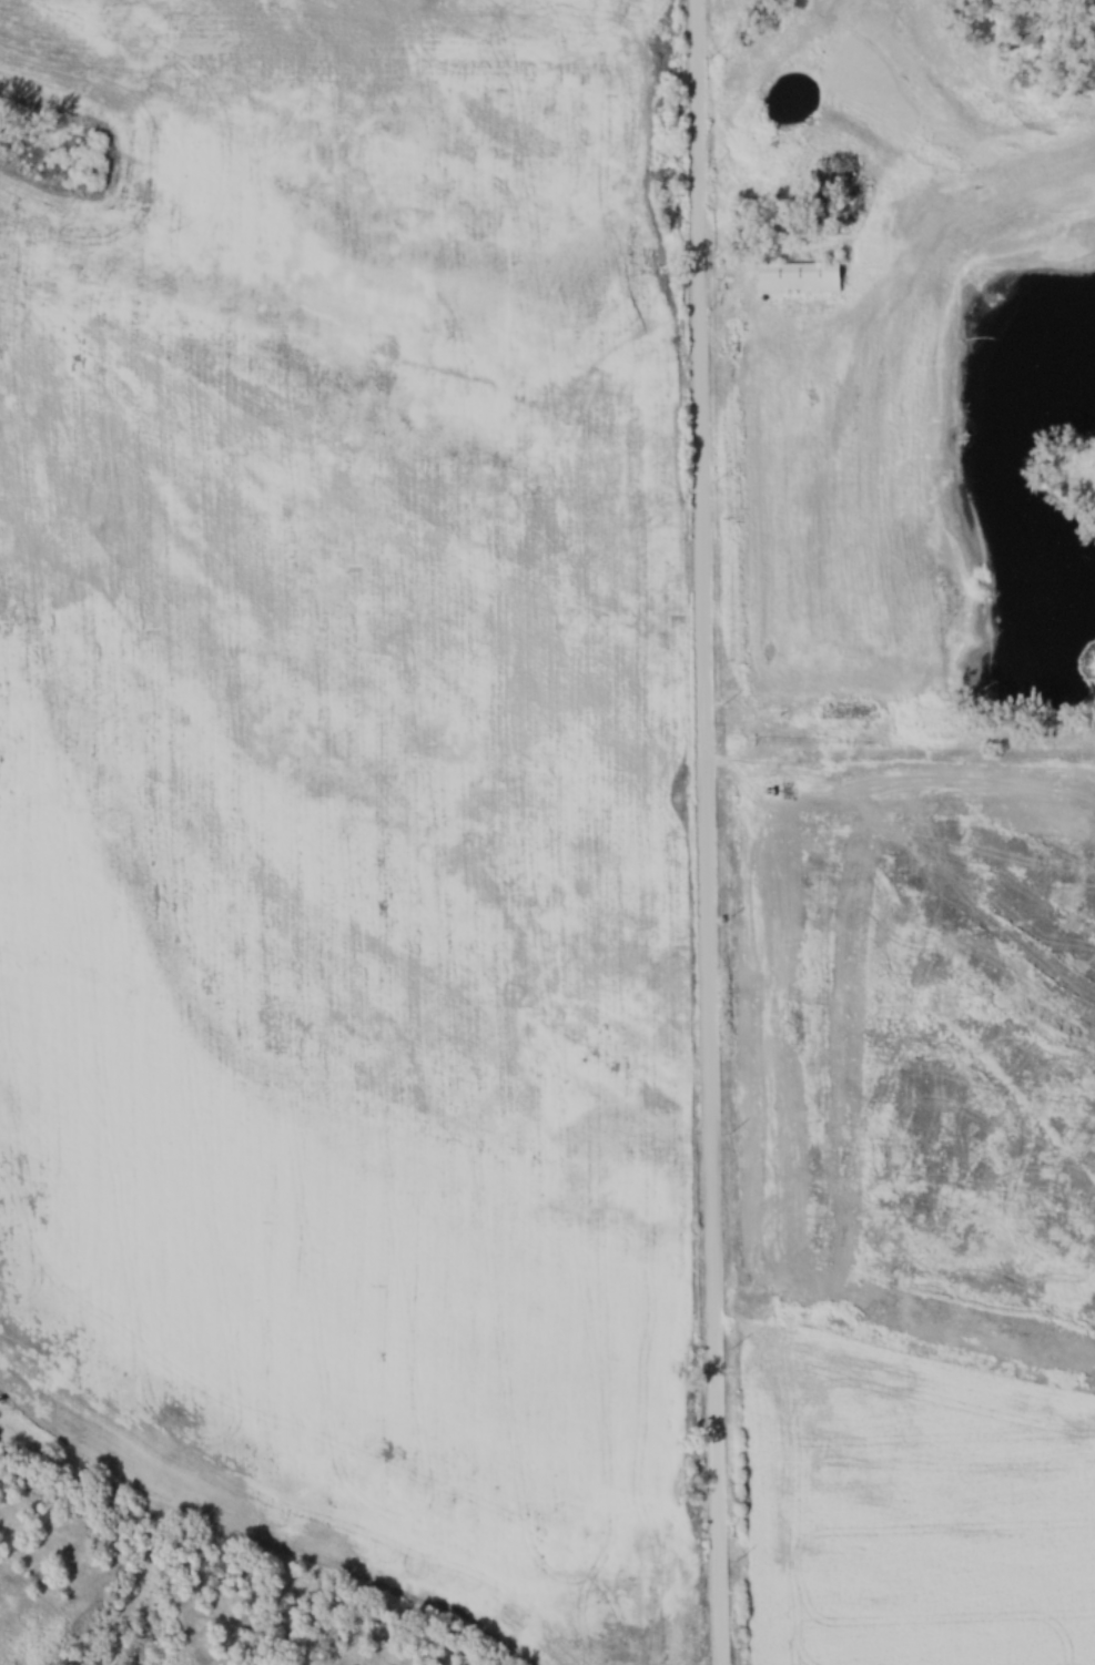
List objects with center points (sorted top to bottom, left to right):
building: (1014, 43)
building: (793, 281)
road: (702, 832)

